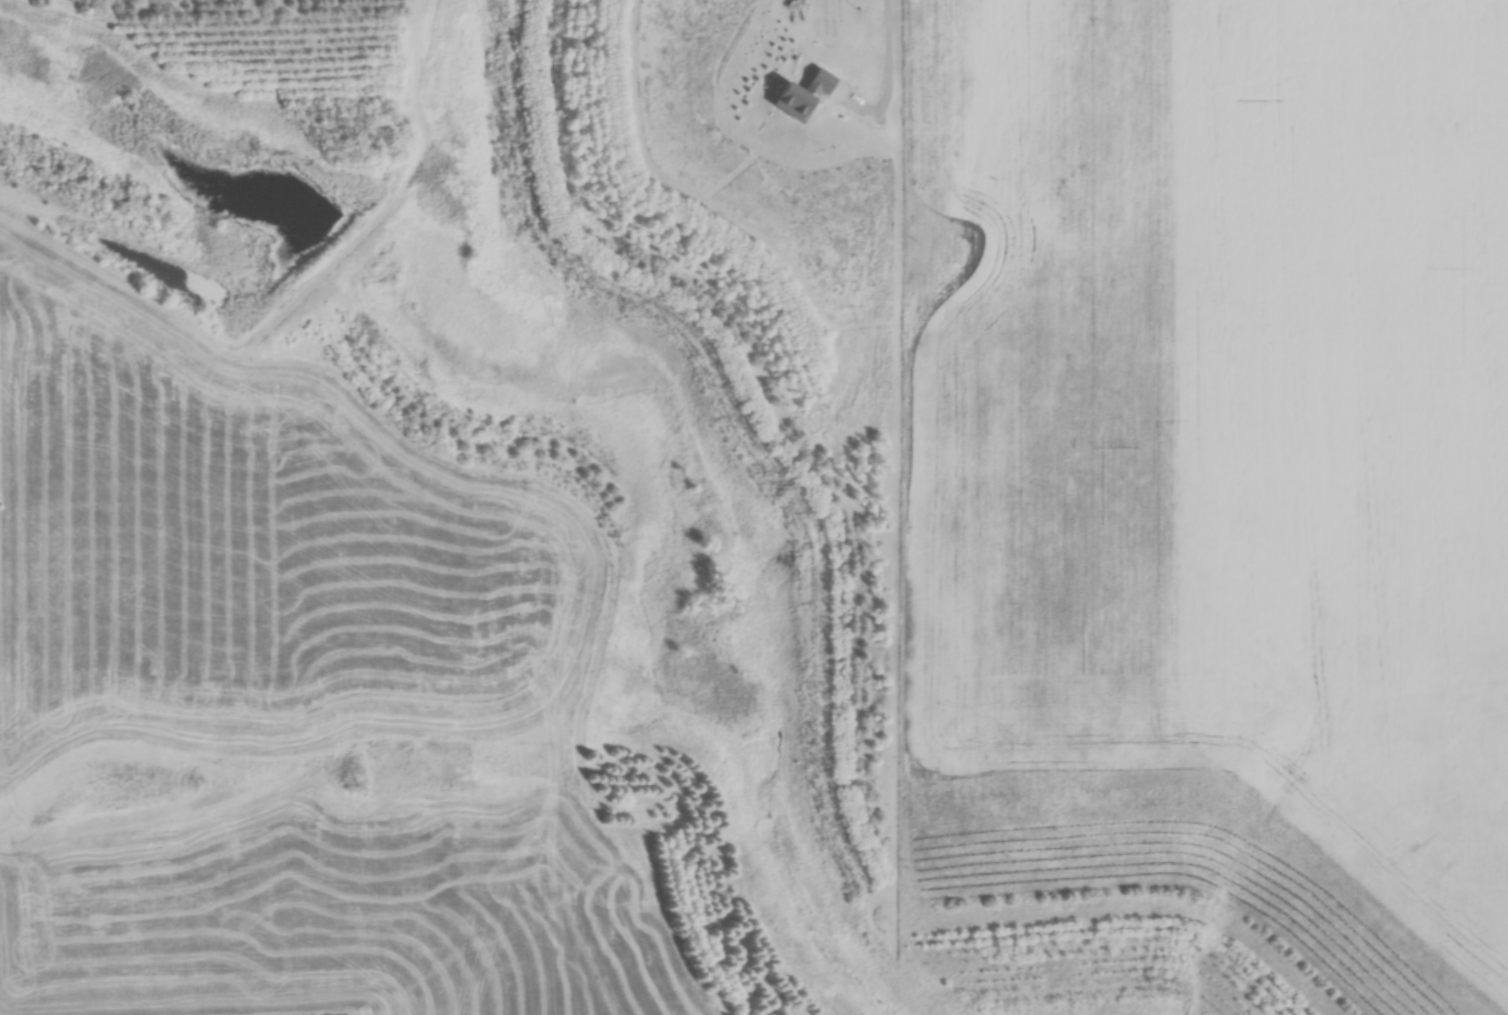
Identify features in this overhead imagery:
building: (802, 96)

